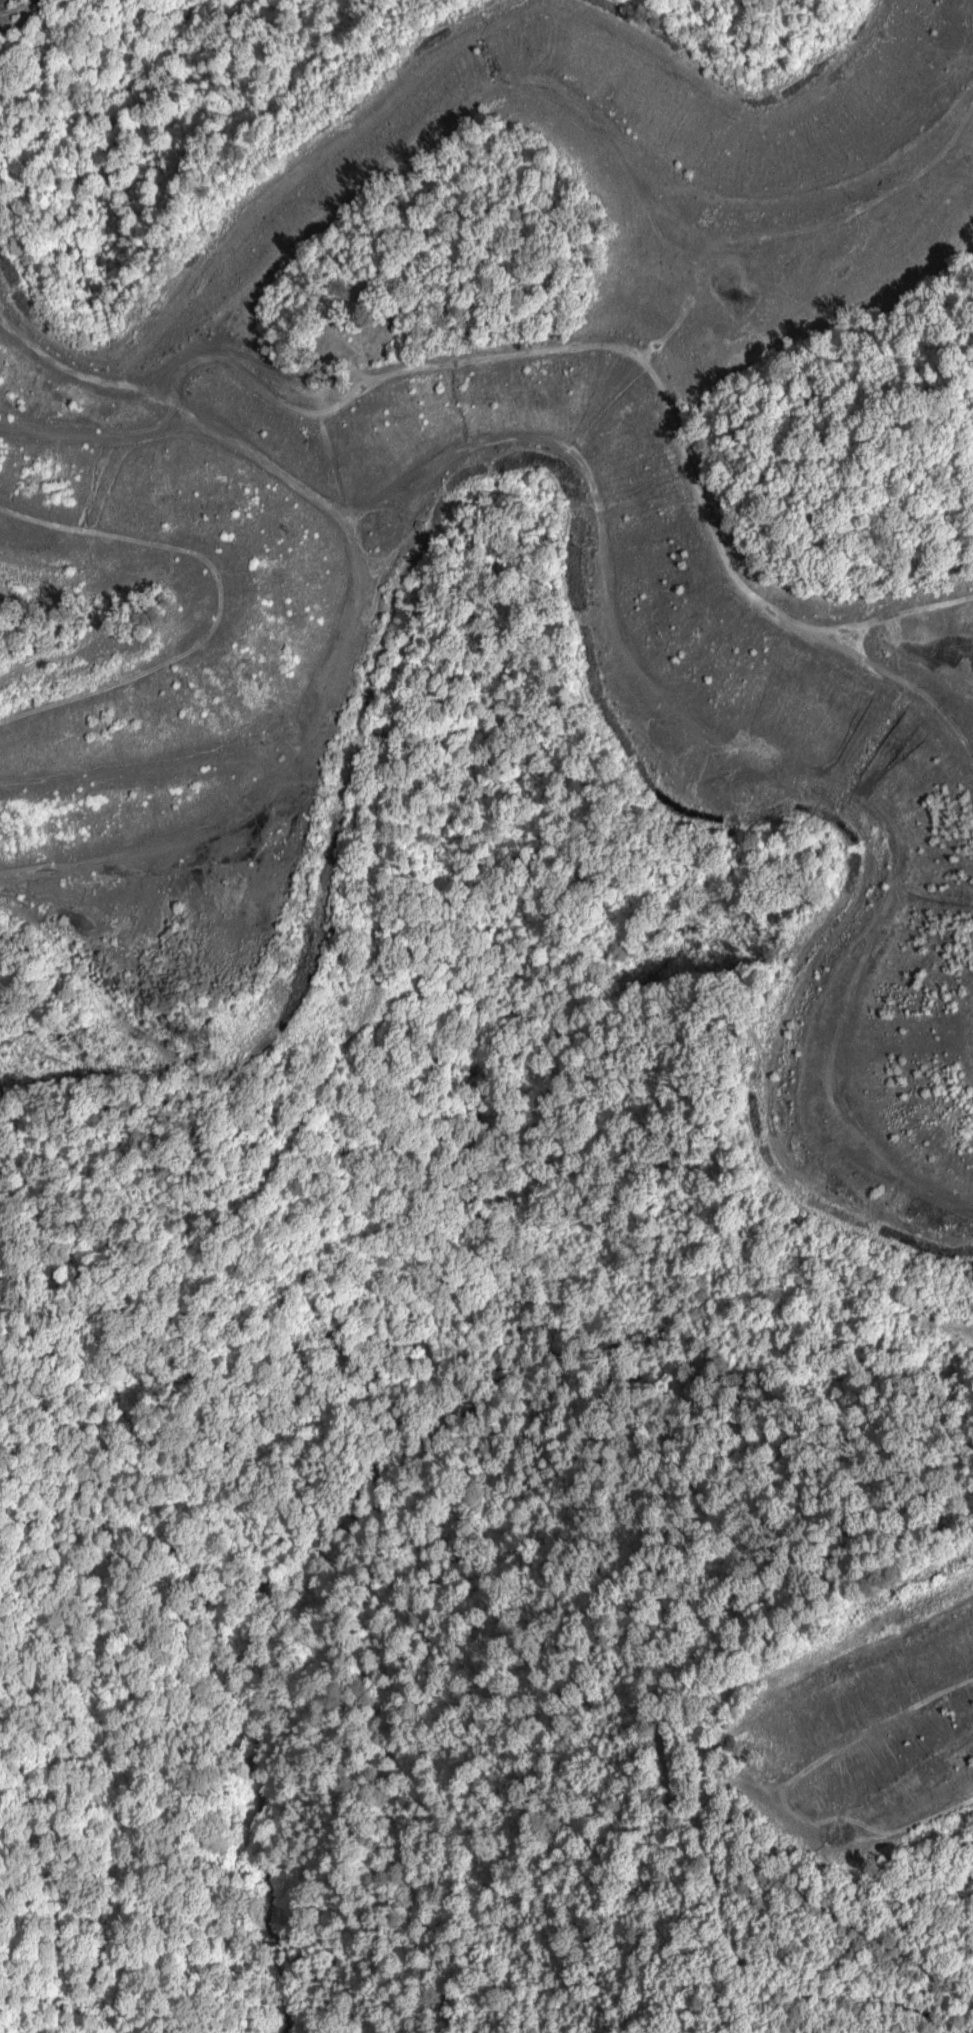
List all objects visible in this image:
power tower: (206, 1040)

